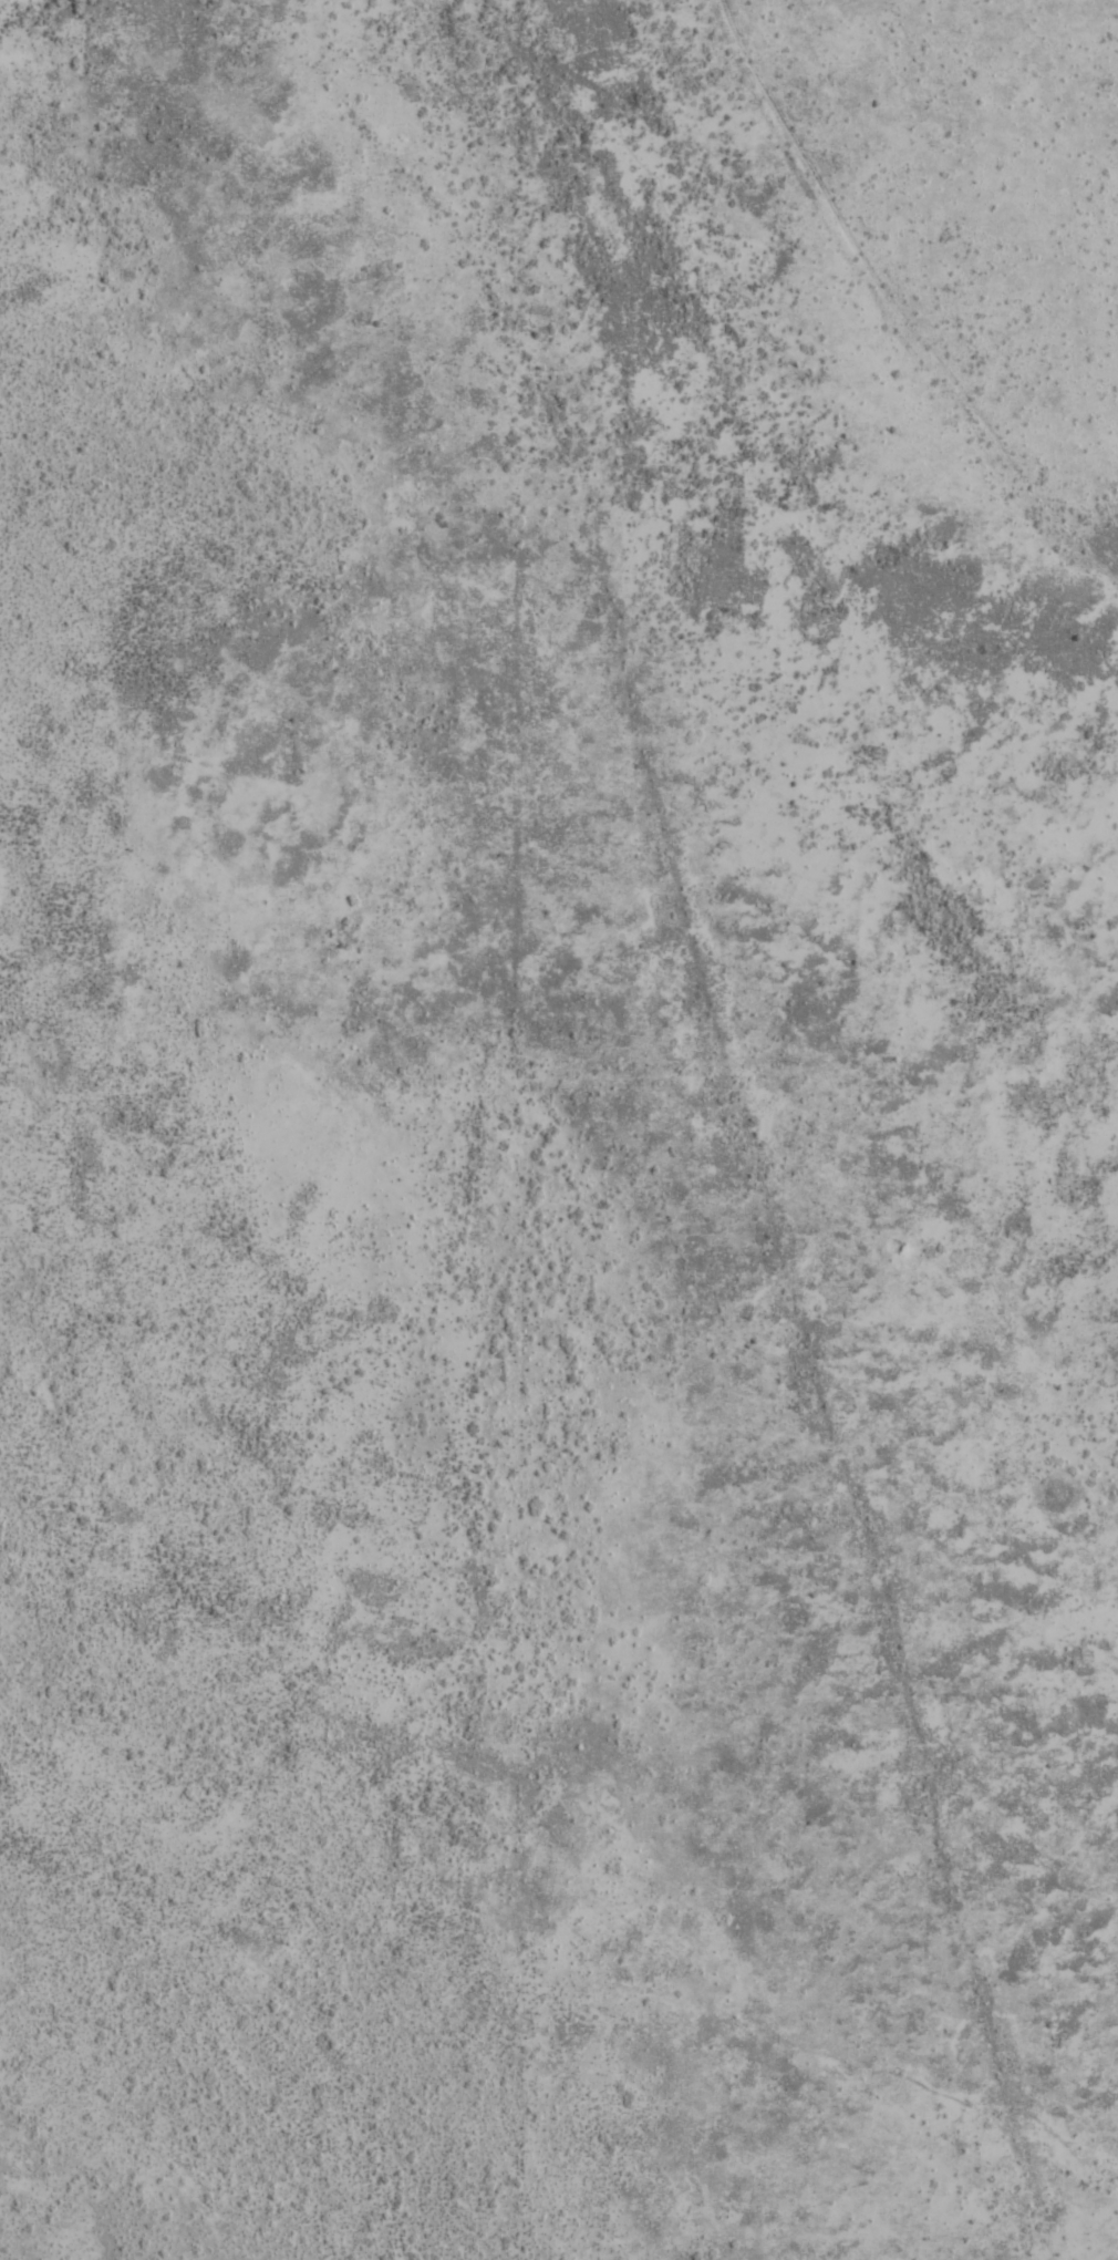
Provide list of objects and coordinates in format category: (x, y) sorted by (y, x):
road: (877, 302)

